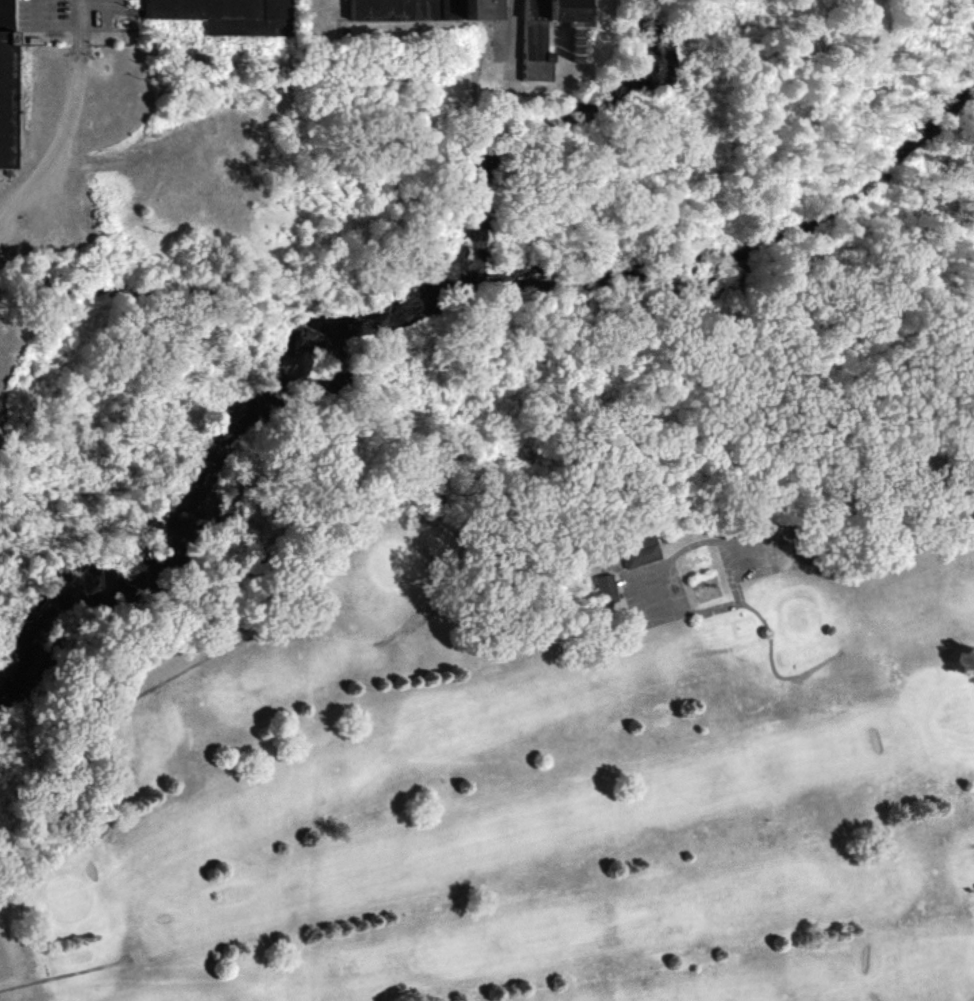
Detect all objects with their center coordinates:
building: (422, 11)
building: (226, 16)
parking lot: (67, 18)
road: (71, 27)
road: (511, 31)
building: (0, 43)
road: (61, 118)
road: (857, 534)
building: (637, 553)
building: (605, 590)
park: (539, 760)

